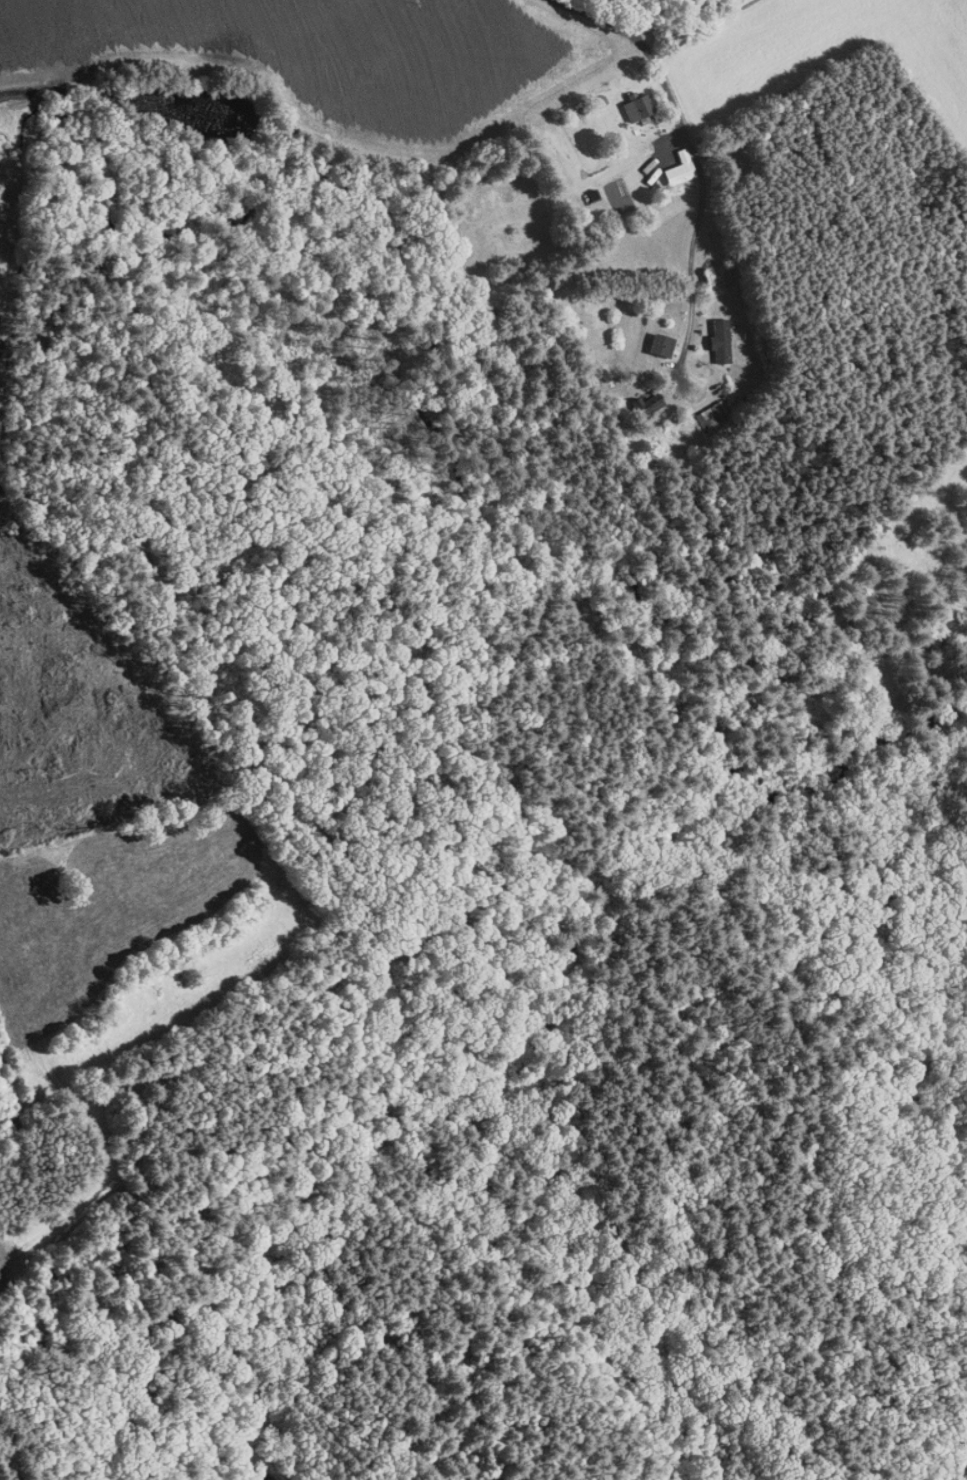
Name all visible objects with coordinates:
road: (694, 155)

